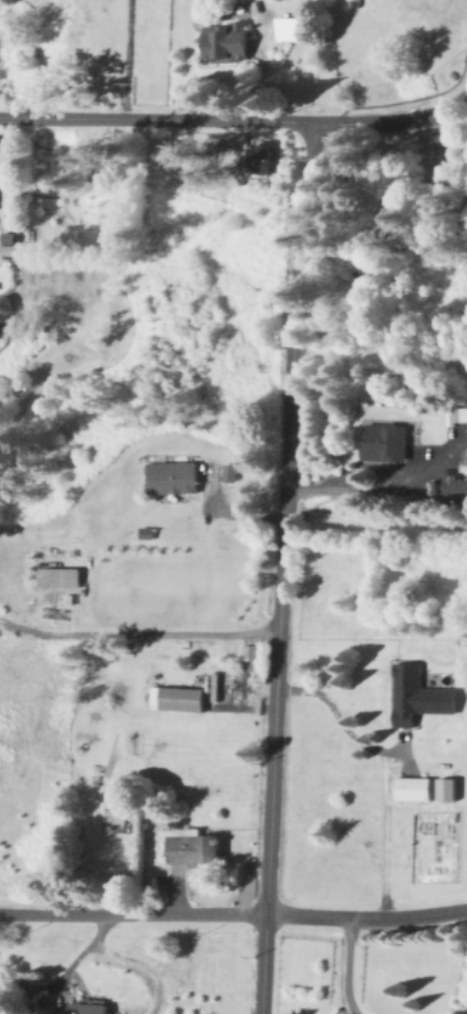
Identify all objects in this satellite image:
building: (297, 26)
building: (230, 39)
road: (262, 63)
road: (155, 121)
road: (390, 121)
building: (13, 241)
building: (8, 305)
building: (387, 440)
building: (233, 471)
building: (176, 476)
road: (362, 485)
building: (455, 485)
road: (223, 514)
building: (149, 531)
road: (281, 568)
building: (62, 575)
road: (137, 634)
building: (254, 654)
building: (422, 694)
building: (179, 697)
road: (333, 717)
building: (450, 786)
building: (415, 787)
building: (196, 844)
road: (132, 914)
road: (366, 919)
road: (130, 959)
road: (342, 967)
building: (90, 1006)

